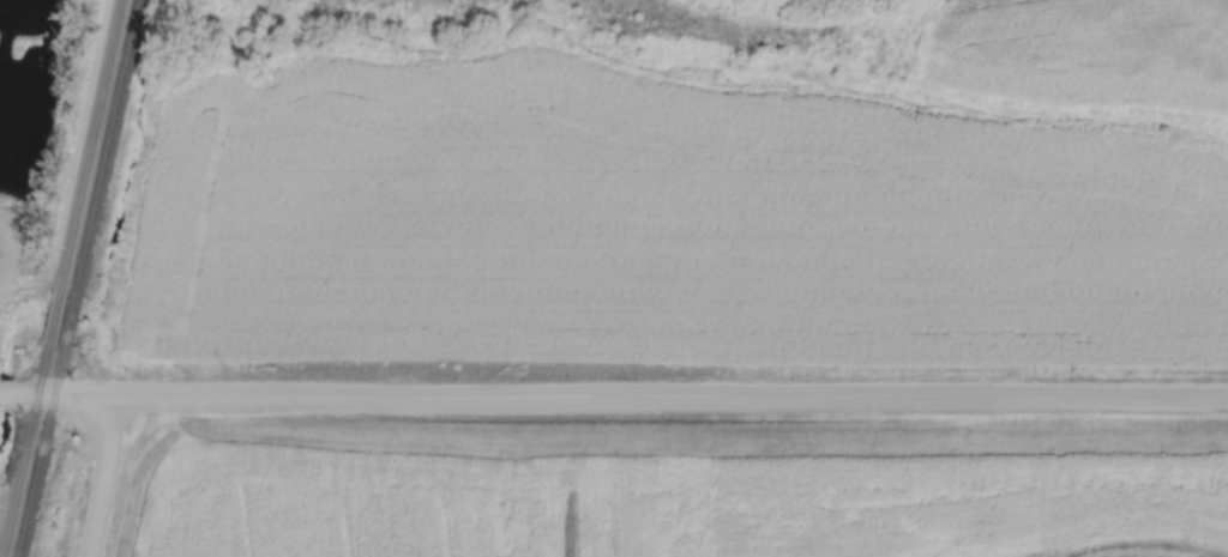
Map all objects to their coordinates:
railway: (61, 278)
railway: (78, 278)
road: (614, 400)
road: (98, 478)

